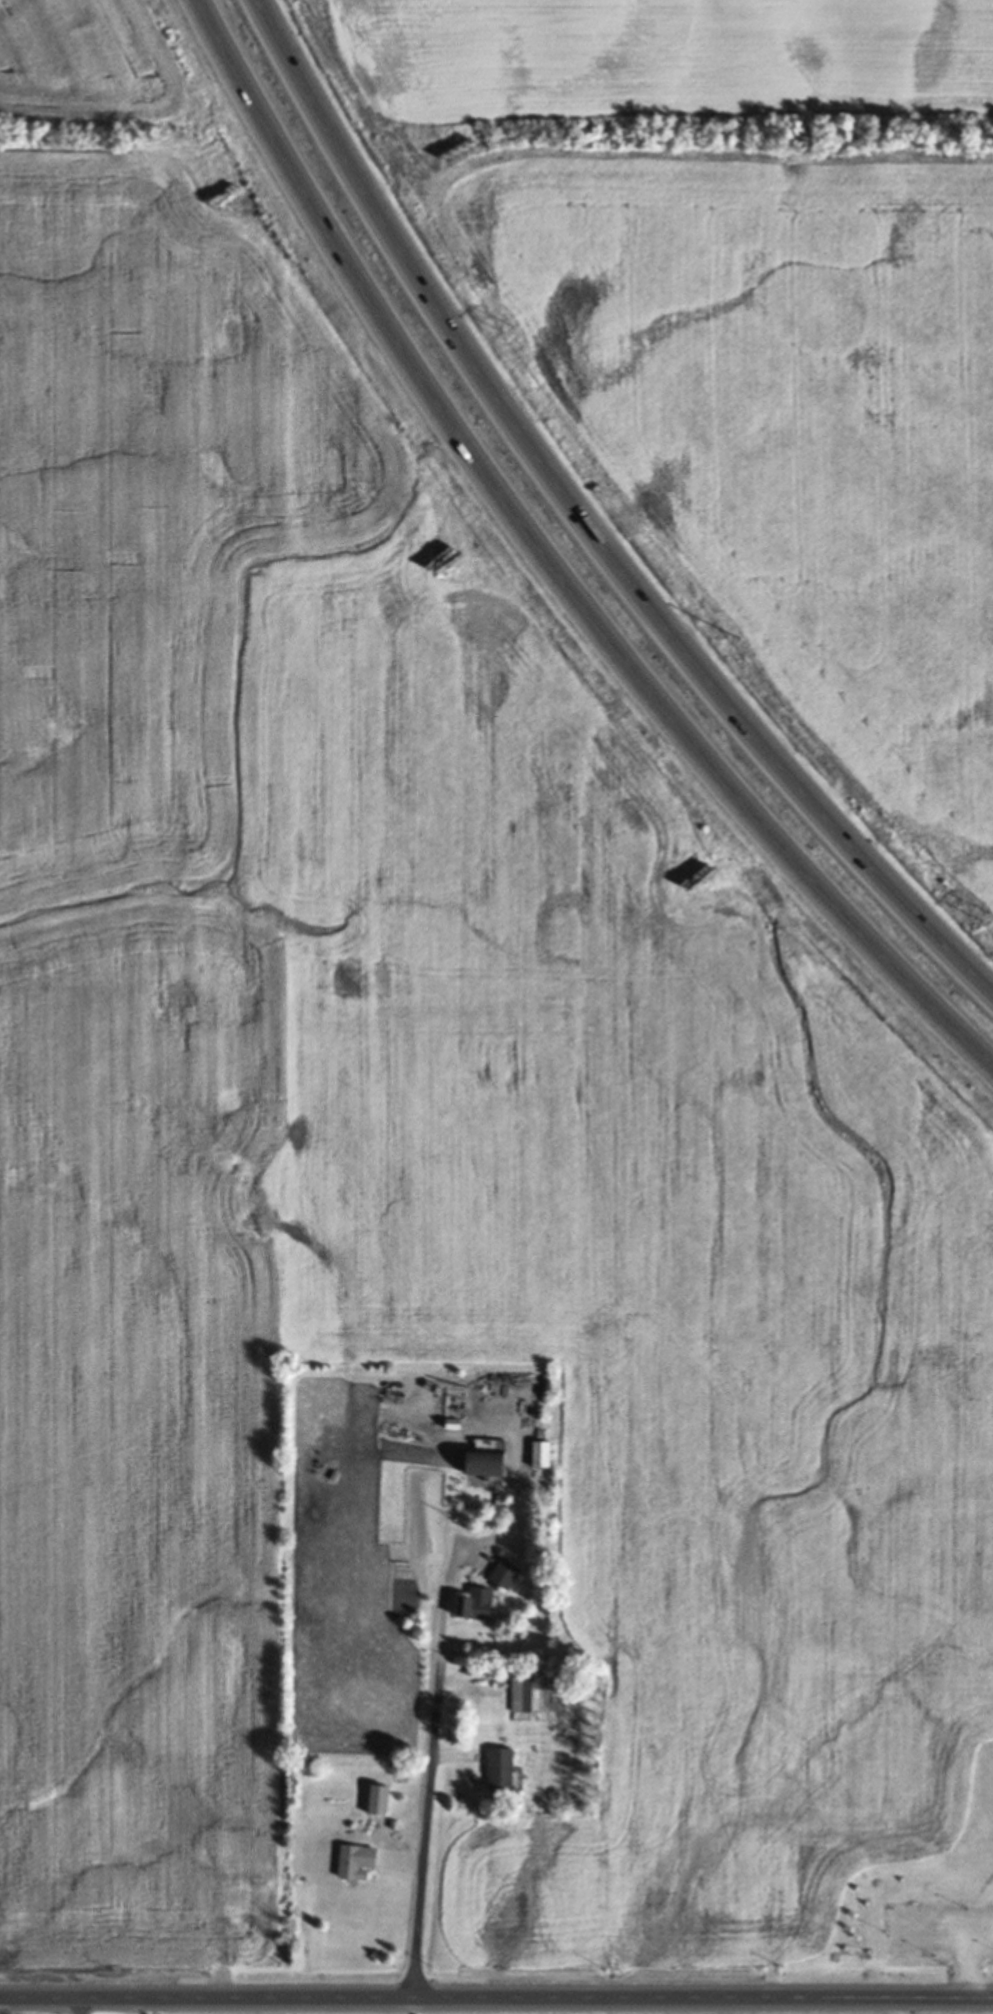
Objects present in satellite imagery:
power tower: (314, 0)
power tower: (508, 332)
road: (583, 525)
road: (550, 568)
power tower: (731, 637)
power tower: (987, 920)
building: (542, 1455)
building: (488, 1458)
road: (469, 1549)
building: (506, 1573)
building: (477, 1604)
building: (523, 1691)
building: (500, 1769)
building: (380, 1799)
road: (429, 1833)
building: (357, 1861)
road: (964, 1953)
road: (496, 1996)
road: (78, 2004)

